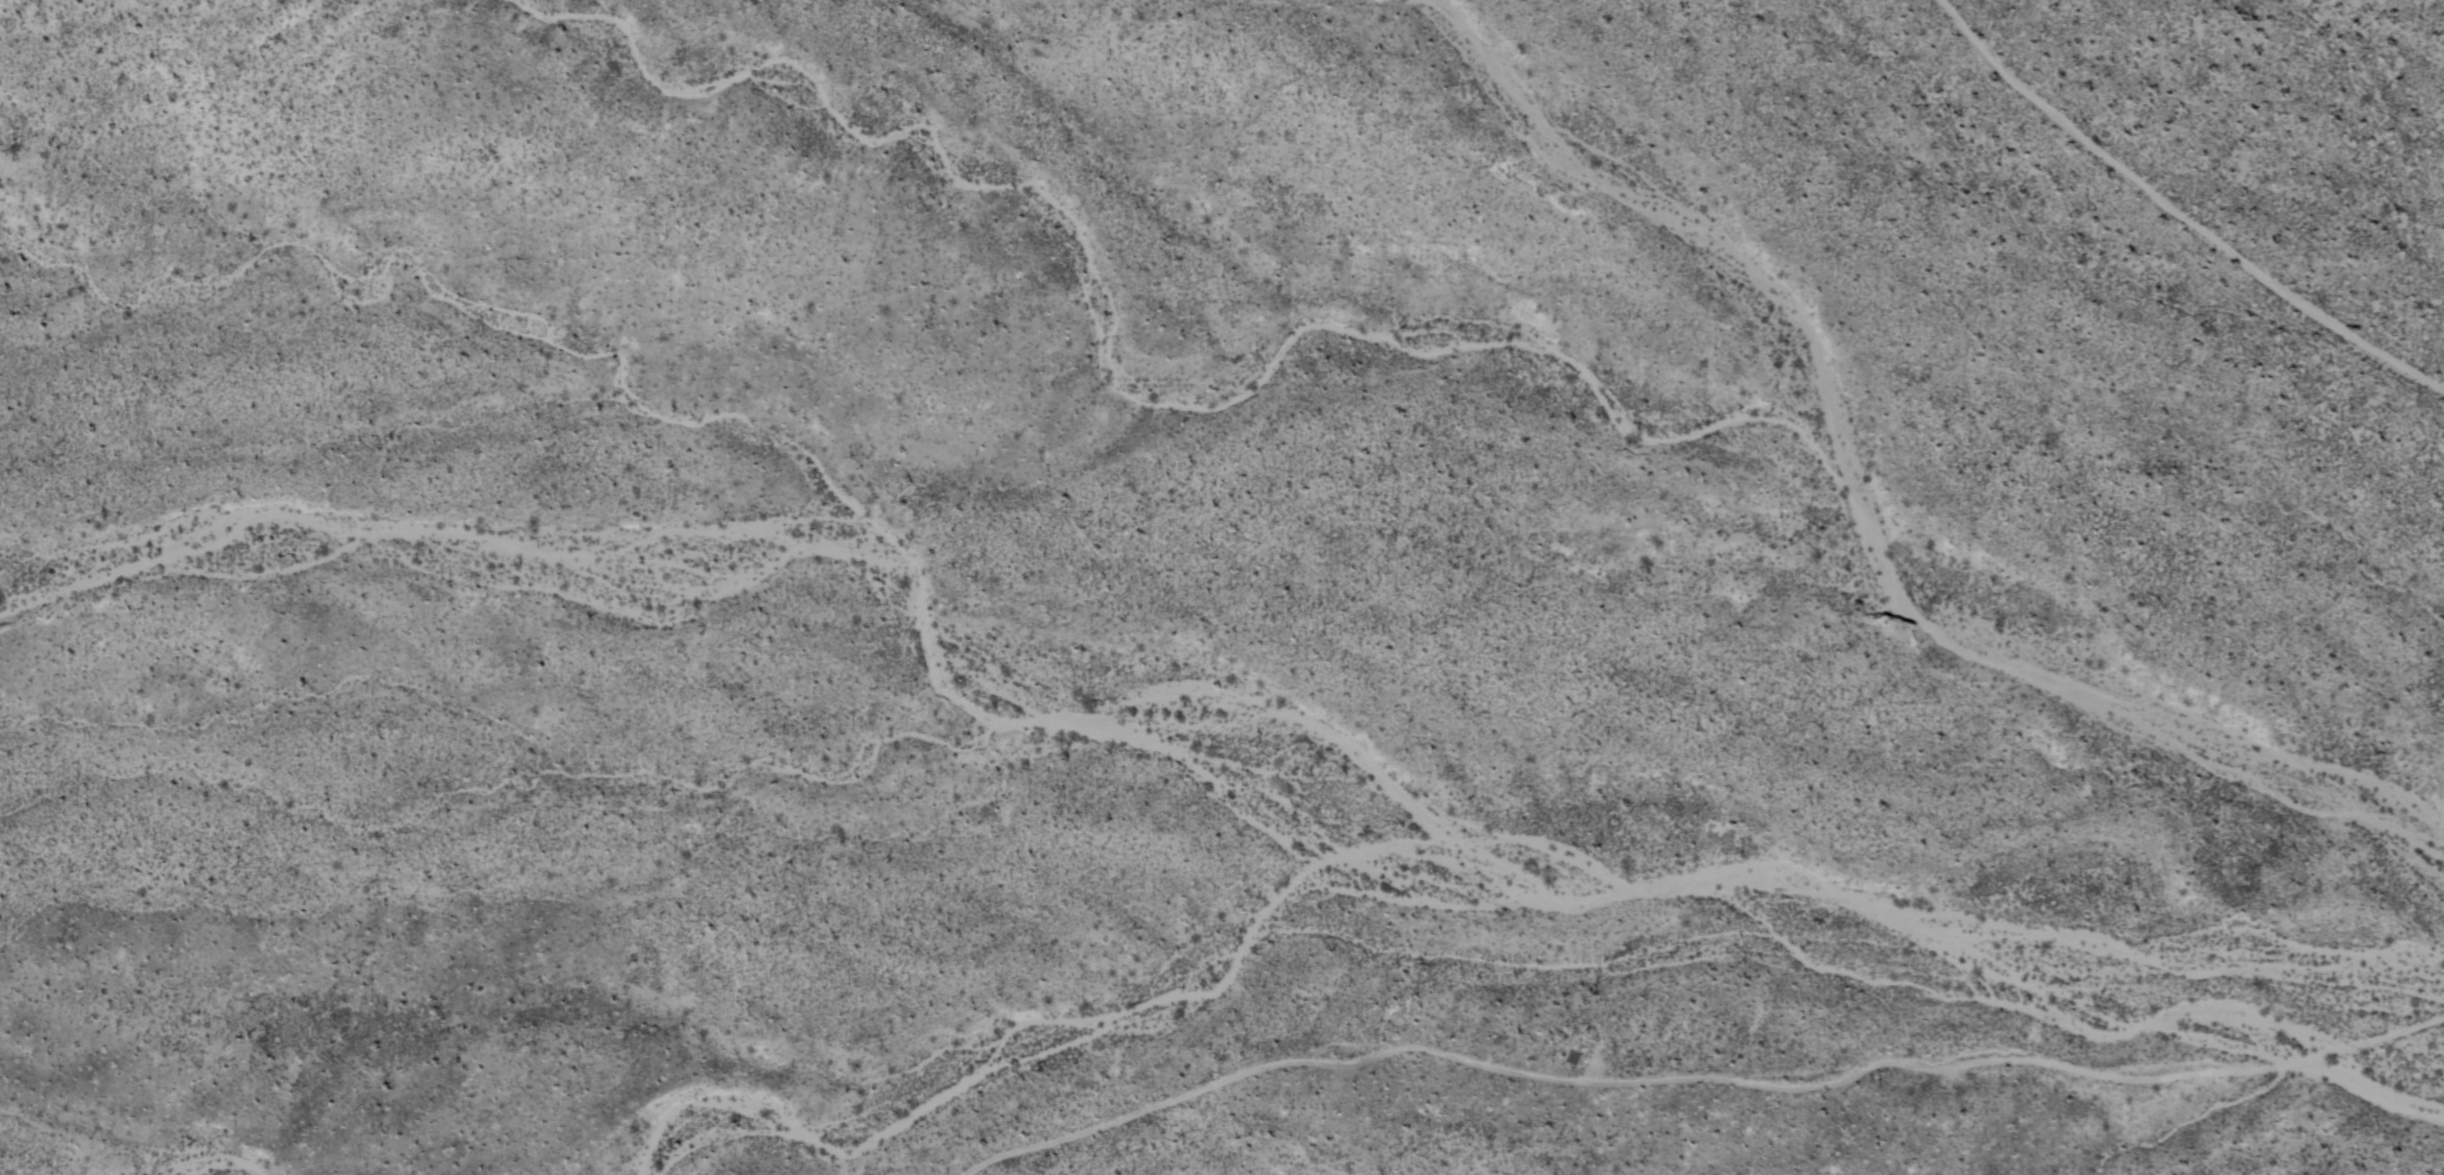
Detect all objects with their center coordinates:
road: (2167, 222)

